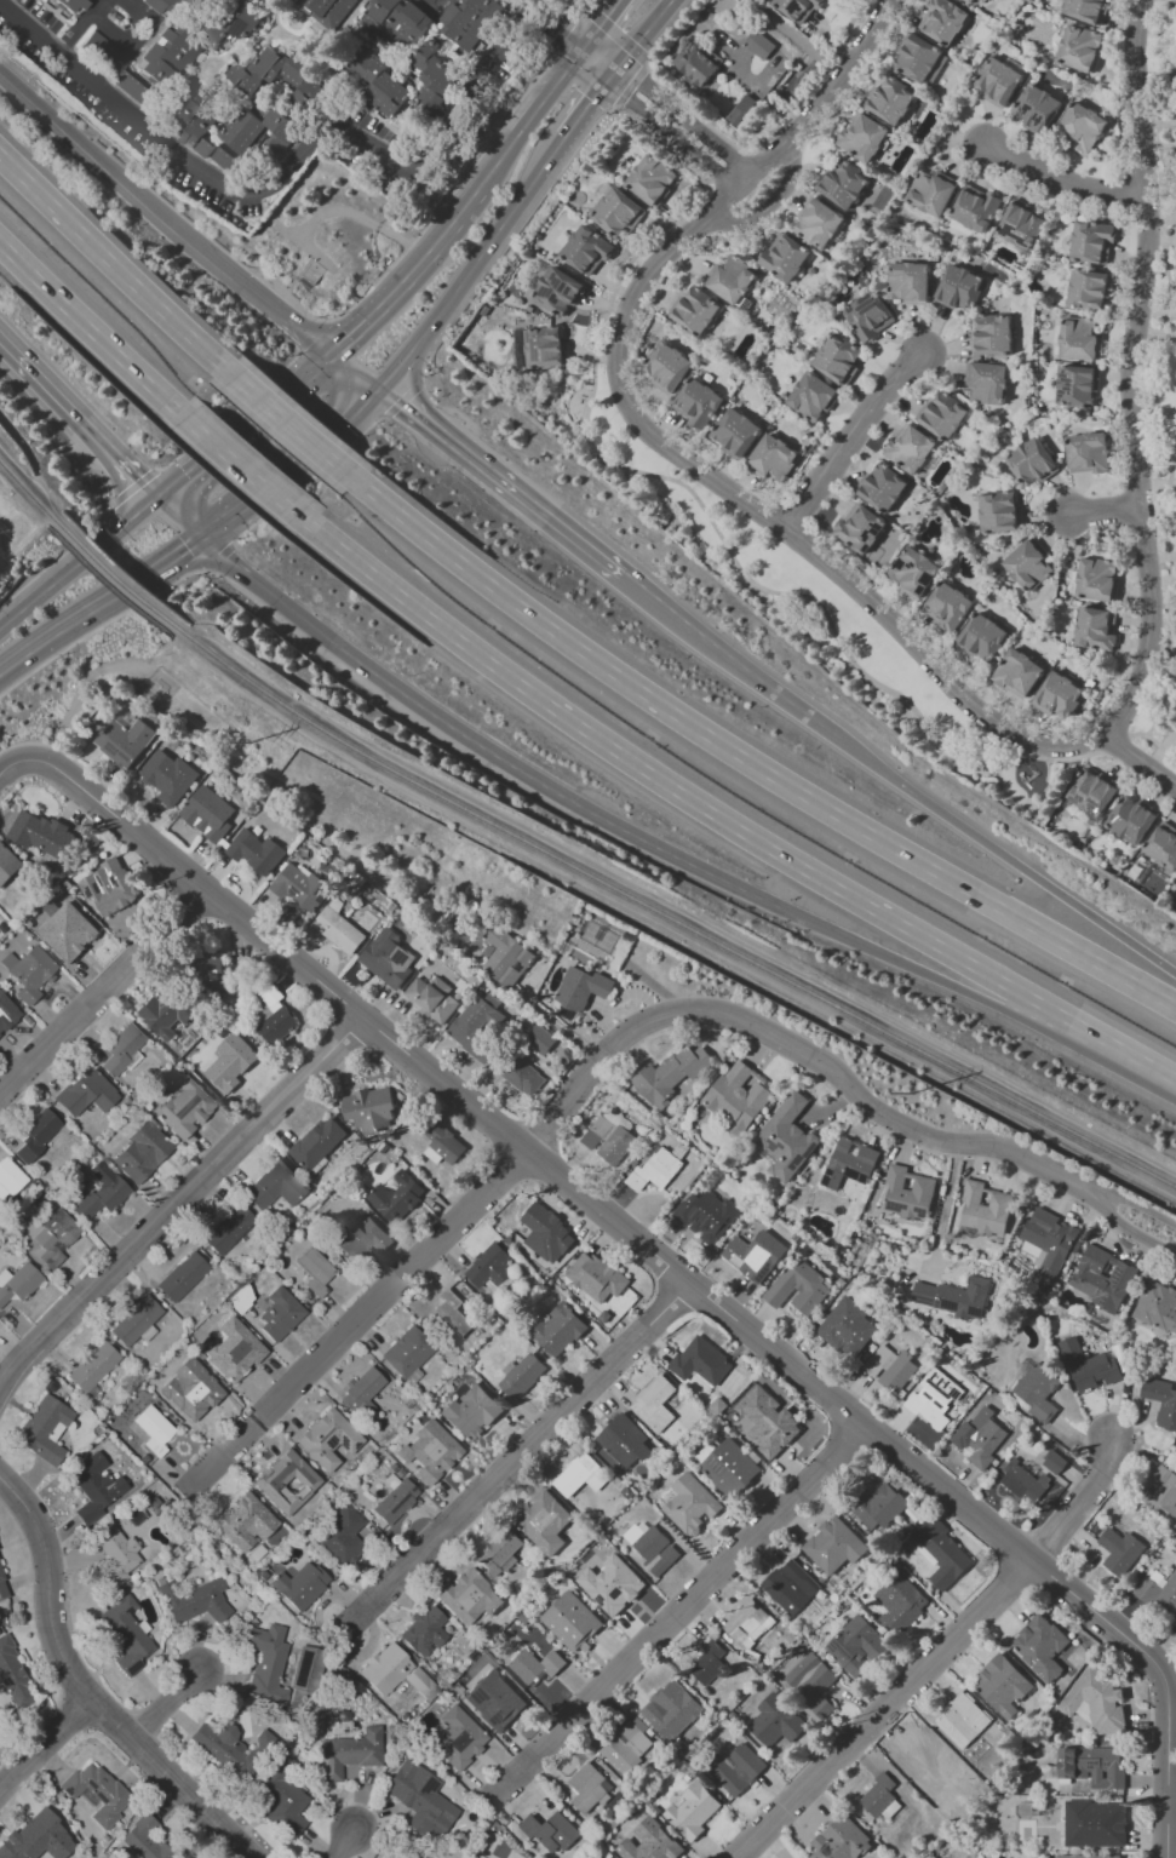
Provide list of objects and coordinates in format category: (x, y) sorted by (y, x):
building: (970, 0)
road: (584, 1)
road: (94, 4)
building: (70, 5)
rooftop solar panel: (793, 6)
road: (518, 8)
building: (797, 8)
building: (1085, 10)
building: (327, 11)
road: (434, 12)
building: (469, 21)
building: (942, 21)
building: (228, 22)
building: (395, 22)
road: (604, 22)
road: (567, 23)
rooftop solar panel: (237, 29)
road: (671, 30)
road: (71, 31)
road: (614, 33)
road: (642, 35)
road: (576, 38)
road: (139, 42)
traffic signals: (586, 45)
building: (1079, 47)
building: (916, 58)
building: (144, 62)
building: (696, 64)
traffic signals: (613, 71)
building: (251, 76)
building: (432, 78)
building: (377, 80)
building: (997, 80)
road: (630, 85)
building: (890, 99)
road: (587, 104)
building: (1034, 107)
rooftop solar panel: (1028, 108)
road: (534, 109)
road: (125, 113)
road: (684, 117)
rooftop solar panel: (1038, 119)
building: (1083, 125)
building: (191, 126)
building: (259, 130)
road: (671, 136)
building: (862, 136)
building: (224, 156)
road: (409, 157)
road: (107, 172)
building: (650, 179)
building: (843, 183)
road: (1060, 191)
building: (930, 193)
road: (444, 199)
building: (975, 207)
building: (616, 212)
road: (358, 216)
building: (818, 223)
building: (1020, 225)
road: (443, 230)
rooftop solar panel: (1009, 231)
building: (1091, 241)
road: (306, 247)
building: (586, 248)
building: (784, 257)
road: (116, 265)
road: (471, 266)
building: (730, 279)
building: (908, 281)
rooftop solar panel: (557, 283)
building: (959, 287)
building: (1089, 288)
building: (558, 291)
rooftop solar panel: (570, 291)
rooftop solar panel: (547, 293)
rooftop solar panel: (864, 298)
rooftop solar panel: (868, 305)
rooftop solar panel: (873, 306)
building: (694, 310)
road: (273, 311)
building: (868, 316)
road: (362, 319)
road: (91, 331)
road: (310, 334)
building: (992, 334)
rooftop solar panel: (529, 338)
building: (1079, 339)
building: (545, 346)
rooftop solar panel: (535, 352)
traffic signals: (327, 356)
building: (837, 357)
building: (666, 366)
road: (351, 374)
building: (986, 382)
building: (1077, 385)
traffic signals: (377, 394)
road: (590, 394)
building: (811, 396)
road: (402, 398)
building: (696, 402)
road: (228, 412)
building: (942, 414)
road: (74, 423)
road: (289, 424)
road: (239, 429)
building: (734, 431)
road: (855, 443)
building: (910, 448)
building: (1086, 452)
building: (771, 457)
building: (1029, 463)
road: (241, 466)
road: (287, 470)
road: (304, 478)
road: (499, 482)
road: (131, 484)
building: (880, 487)
railway: (25, 488)
traffic signals: (150, 501)
building: (998, 511)
road: (1101, 515)
road: (172, 522)
rooftop solar panel: (879, 526)
building: (859, 528)
rooftop solar panel: (874, 532)
rooftop solar panel: (866, 535)
road: (746, 543)
traffic signals: (195, 544)
road: (68, 547)
rooftop solar panel: (866, 549)
road: (219, 556)
road: (75, 563)
building: (1027, 564)
road: (228, 568)
building: (912, 572)
railway: (114, 574)
building: (1096, 578)
park: (775, 585)
road: (96, 606)
building: (946, 606)
road: (101, 626)
building: (1095, 627)
building: (981, 637)
road: (730, 658)
building: (1016, 672)
road: (946, 689)
building: (1057, 695)
road: (1148, 735)
power tower: (251, 740)
building: (124, 741)
rooftop solar panel: (108, 747)
road: (57, 749)
rooftop solar panel: (122, 755)
road: (747, 759)
road: (1143, 765)
road: (510, 767)
building: (167, 776)
building: (1090, 791)
rooftop solar panel: (1079, 799)
rooftop solar panel: (1095, 808)
building: (207, 813)
building: (1130, 818)
road: (722, 819)
building: (41, 833)
building: (1161, 845)
building: (254, 851)
road: (1008, 858)
building: (7, 864)
road: (580, 885)
building: (109, 887)
building: (299, 888)
rooftop solar panel: (293, 890)
rooftop solar panel: (320, 893)
traffic signals: (779, 908)
railway: (671, 918)
building: (337, 928)
building: (67, 931)
building: (505, 956)
building: (386, 958)
road: (914, 969)
building: (28, 973)
building: (217, 974)
building: (580, 987)
road: (101, 991)
building: (431, 998)
building: (166, 1011)
building: (6, 1014)
building: (273, 1015)
road: (552, 1019)
building: (476, 1026)
building: (539, 1039)
building: (122, 1048)
building: (229, 1061)
road: (836, 1071)
building: (521, 1076)
building: (671, 1076)
building: (87, 1090)
power tower: (919, 1095)
building: (738, 1096)
building: (184, 1107)
building: (368, 1108)
building: (36, 1135)
building: (608, 1136)
building: (786, 1137)
building: (316, 1142)
rooftop solar panel: (775, 1143)
rooftop solar panel: (784, 1145)
road: (517, 1146)
rooftop solar panel: (771, 1147)
rooftop solar panel: (809, 1152)
building: (140, 1153)
rooftop solar panel: (798, 1159)
building: (849, 1163)
building: (653, 1170)
building: (7, 1176)
building: (276, 1186)
building: (395, 1195)
road: (178, 1202)
rooftop solar panel: (895, 1203)
road: (946, 1205)
rooftop solar panel: (922, 1209)
building: (983, 1209)
building: (705, 1215)
building: (92, 1220)
building: (228, 1229)
building: (545, 1234)
building: (358, 1237)
building: (1046, 1240)
building: (753, 1255)
rooftop solar panel: (734, 1261)
building: (488, 1266)
building: (314, 1271)
building: (184, 1274)
rooftop solar panel: (764, 1274)
rooftop solar panel: (1118, 1275)
building: (1101, 1277)
building: (18, 1280)
building: (601, 1281)
building: (804, 1288)
rooftop solar panel: (1100, 1290)
building: (956, 1297)
rooftop solar panel: (1106, 1300)
building: (1158, 1307)
building: (279, 1314)
building: (451, 1315)
road: (363, 1317)
building: (137, 1318)
building: (558, 1330)
building: (842, 1331)
building: (233, 1351)
building: (406, 1352)
building: (700, 1361)
building: (92, 1366)
building: (1088, 1366)
building: (890, 1370)
building: (521, 1375)
rooftop solar panel: (728, 1382)
building: (1037, 1390)
building: (362, 1392)
building: (936, 1394)
building: (200, 1400)
building: (1161, 1400)
building: (662, 1404)
building: (470, 1412)
building: (767, 1421)
building: (48, 1423)
building: (153, 1429)
building: (981, 1438)
building: (327, 1439)
building: (630, 1439)
rooftop solar panel: (331, 1441)
rooftop solar panel: (344, 1441)
rooftop solar panel: (356, 1445)
building: (428, 1452)
road: (517, 1457)
building: (1054, 1461)
rooftop solar panel: (713, 1464)
building: (729, 1467)
building: (579, 1475)
building: (1025, 1480)
building: (286, 1483)
building: (93, 1487)
rooftop solar panel: (409, 1490)
building: (1160, 1495)
building: (394, 1499)
rooftop solar panel: (394, 1503)
road: (1075, 1503)
building: (690, 1504)
building: (878, 1507)
building: (544, 1521)
building: (245, 1522)
building: (340, 1536)
building: (833, 1546)
building: (943, 1550)
building: (1121, 1552)
building: (499, 1553)
building: (664, 1553)
building: (115, 1554)
building: (625, 1578)
building: (299, 1585)
building: (791, 1588)
building: (1159, 1590)
building: (2, 1592)
building: (469, 1596)
building: (899, 1596)
building: (194, 1600)
road: (677, 1613)
building: (578, 1619)
building: (746, 1623)
building: (423, 1632)
rooftop solar panel: (131, 1633)
building: (125, 1634)
building: (857, 1645)
building: (1039, 1646)
rooftop solar panel: (841, 1648)
building: (706, 1663)
building: (266, 1664)
building: (303, 1668)
building: (532, 1668)
building: (394, 1673)
building: (11, 1675)
building: (810, 1679)
road: (1163, 1681)
building: (1002, 1686)
road: (82, 1691)
rooftop solar panel: (474, 1696)
building: (493, 1701)
building: (1095, 1702)
road: (166, 1708)
building: (670, 1709)
road: (884, 1710)
rooftop solar panel: (492, 1717)
building: (962, 1720)
building: (776, 1721)
building: (457, 1738)
building: (1, 1741)
building: (626, 1745)
building: (229, 1747)
road: (45, 1748)
building: (348, 1753)
building: (922, 1755)
rooftop solar panel: (729, 1762)
rooftop solar panel: (1106, 1764)
rooftop solar panel: (1090, 1765)
building: (1091, 1765)
building: (736, 1767)
building: (586, 1787)
building: (96, 1793)
building: (880, 1793)
building: (281, 1796)
building: (413, 1796)
road: (1175, 1808)
building: (694, 1810)
building: (1107, 1818)
building: (550, 1831)
building: (28, 1834)
building: (842, 1839)
building: (143, 1840)
building: (650, 1842)
road: (346, 1843)
building: (1086, 1856)

